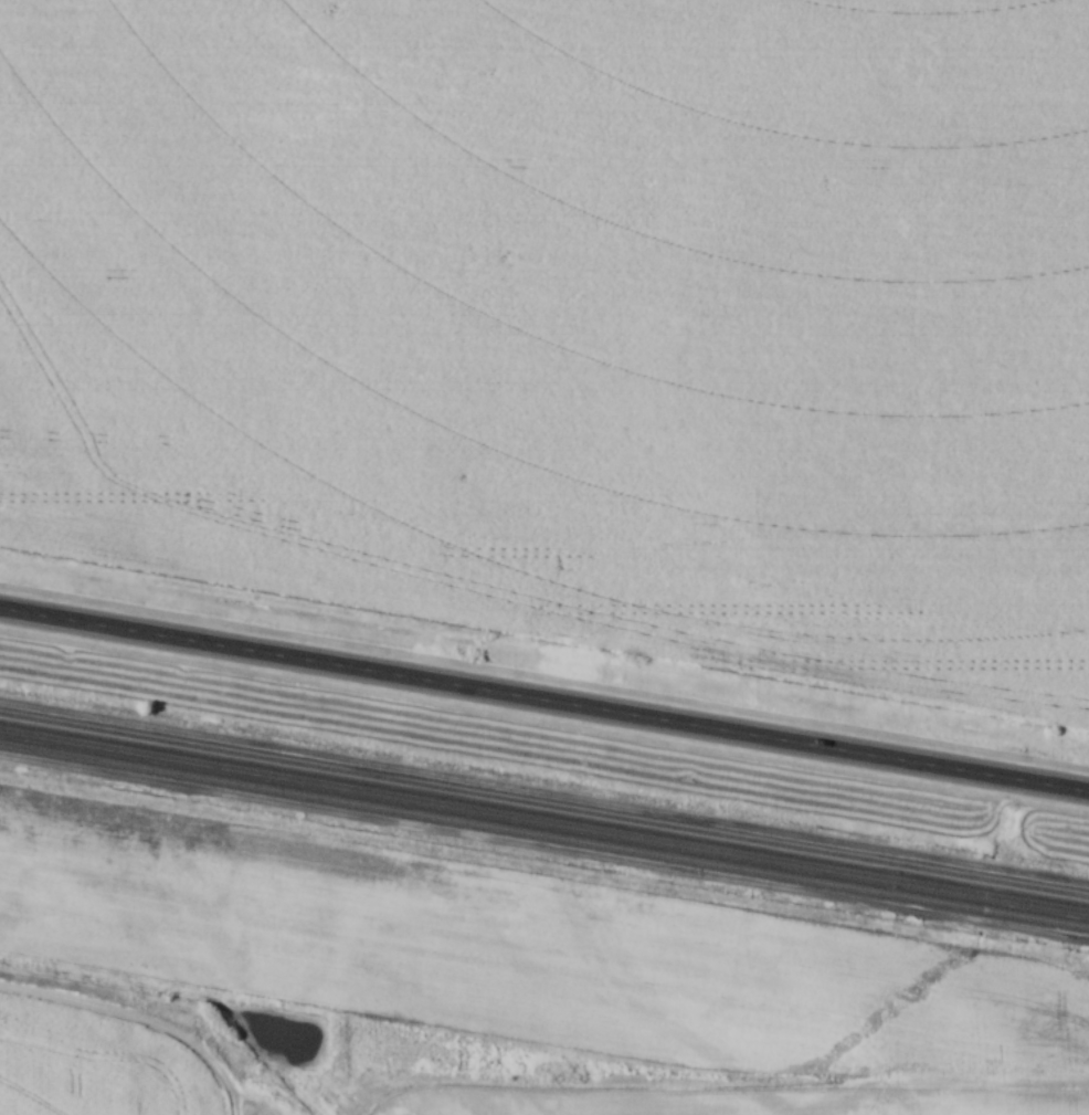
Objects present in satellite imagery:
road: (544, 698)
railway: (544, 804)
railway: (544, 819)
railway: (544, 833)

